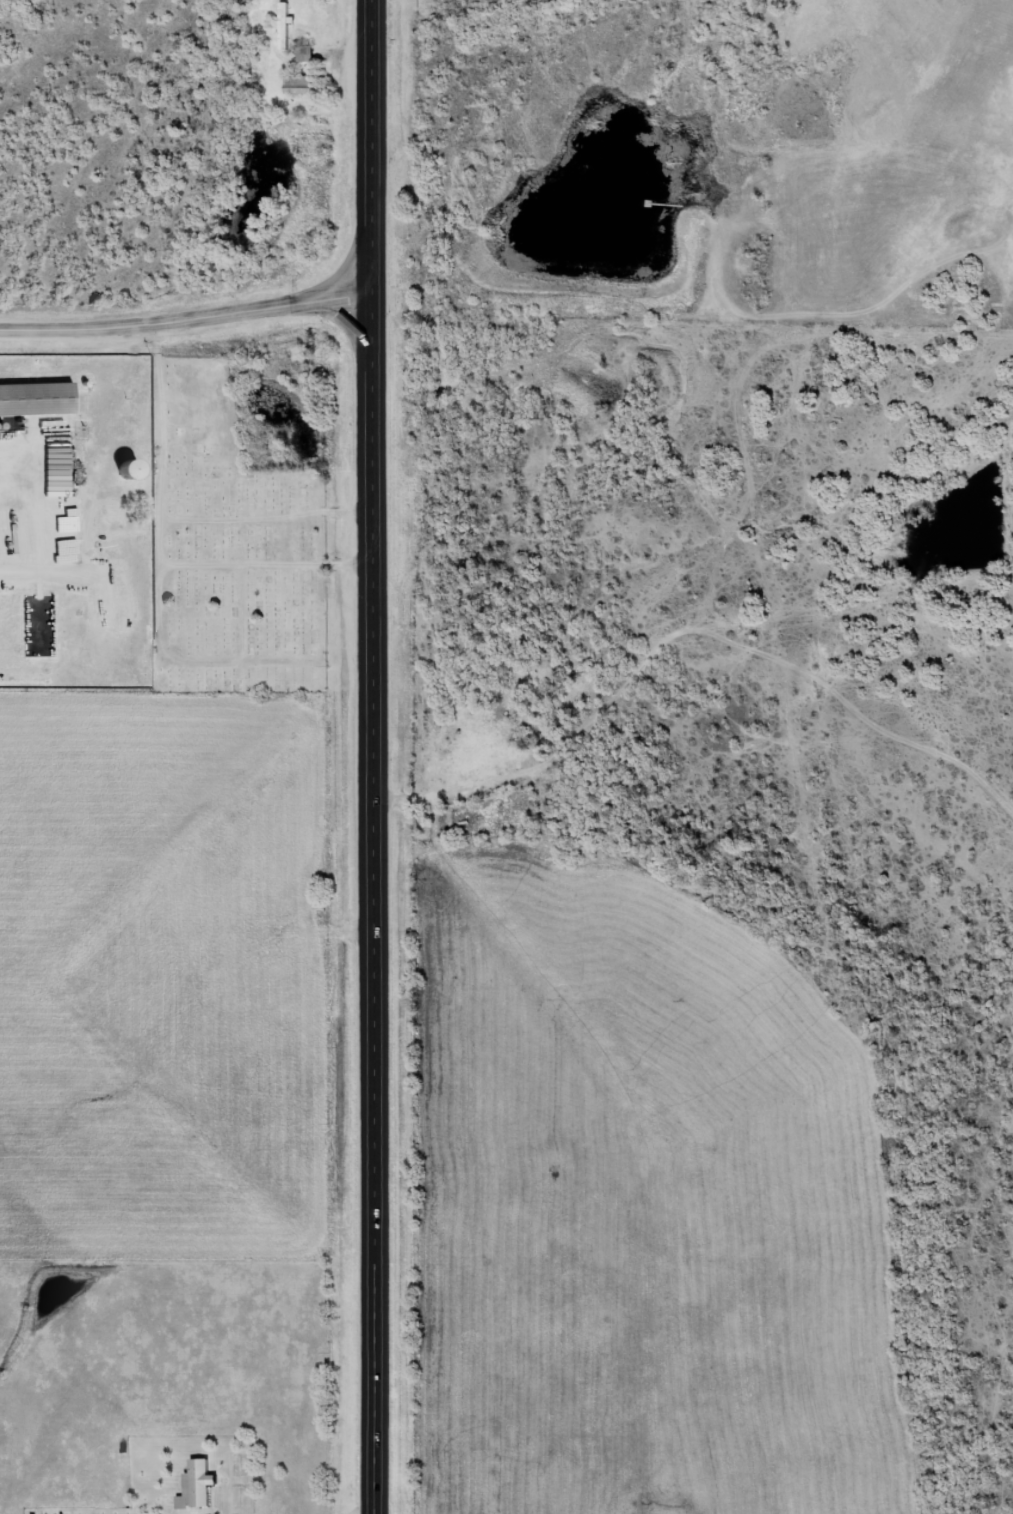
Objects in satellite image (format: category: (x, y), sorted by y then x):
building: (284, 25)
building: (305, 53)
building: (299, 84)
road: (373, 147)
road: (187, 318)
building: (38, 399)
park: (228, 546)
road: (373, 904)
building: (197, 1486)

